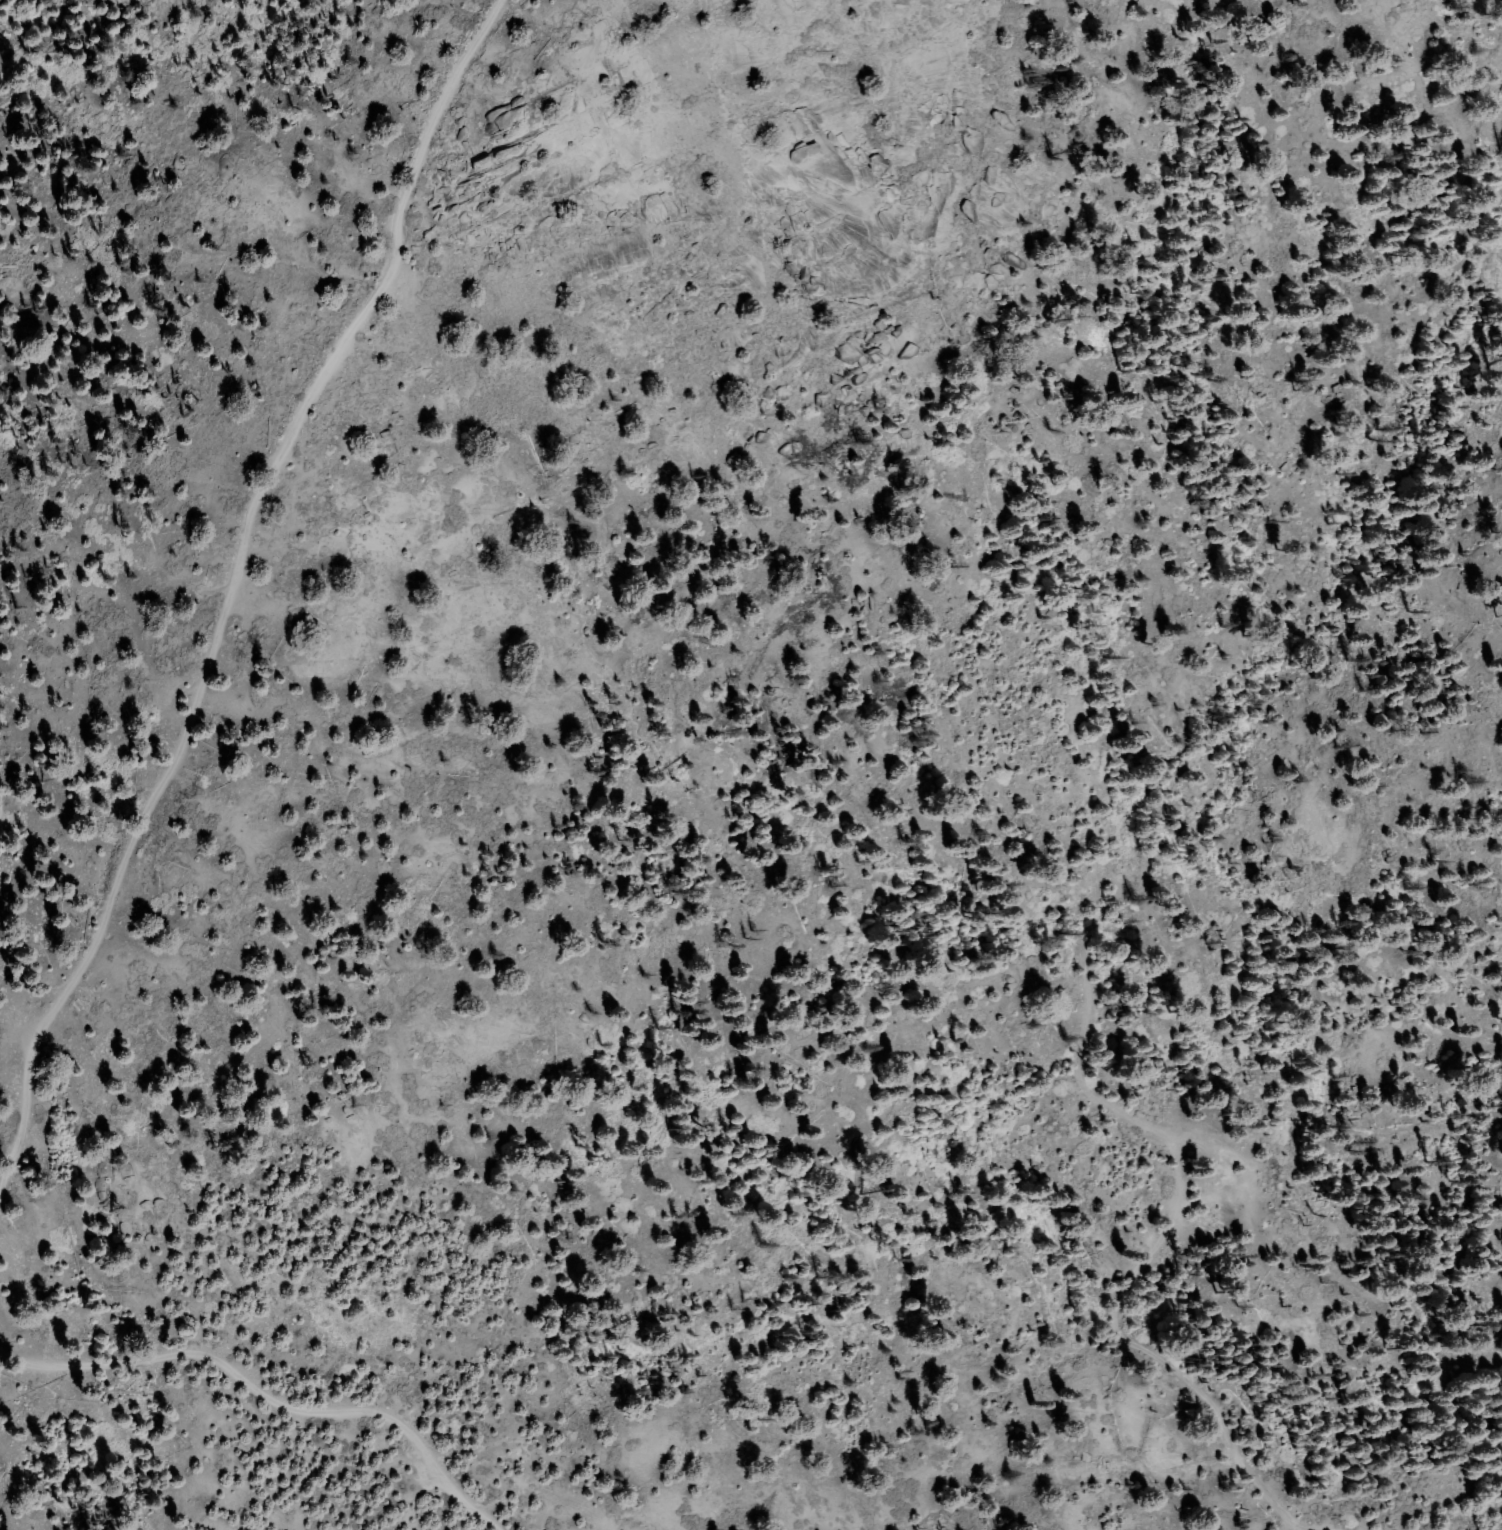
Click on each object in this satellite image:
road: (234, 584)
building: (1018, 975)
road: (1137, 1266)
road: (268, 1393)

